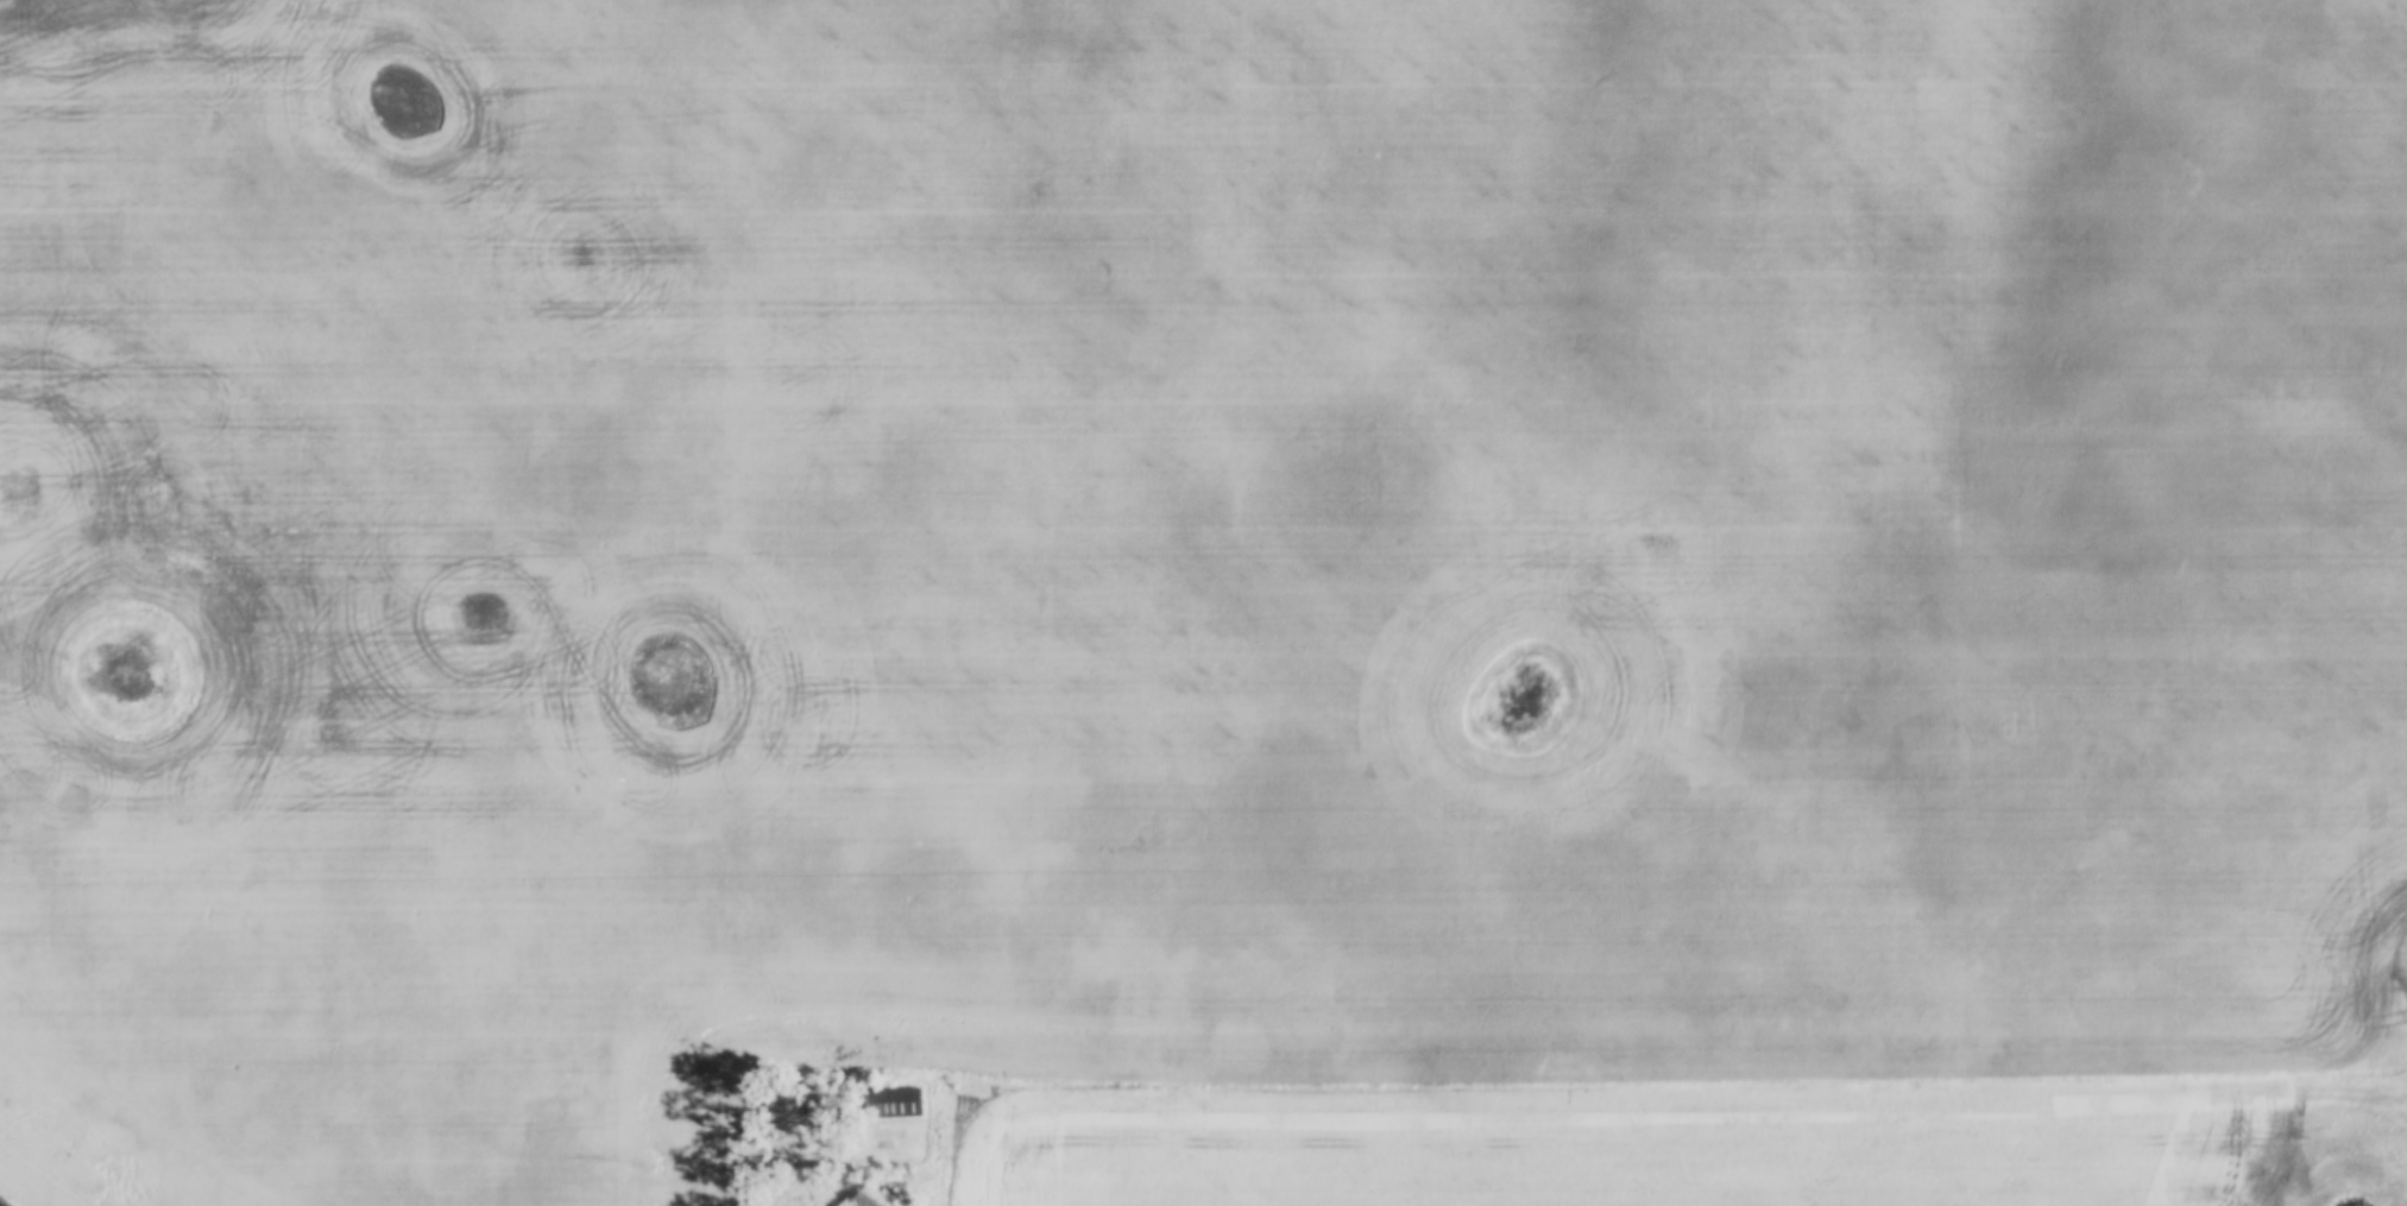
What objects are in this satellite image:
building: (884, 1086)
building: (900, 1103)
crop: (1693, 1144)
road: (770, 1145)

